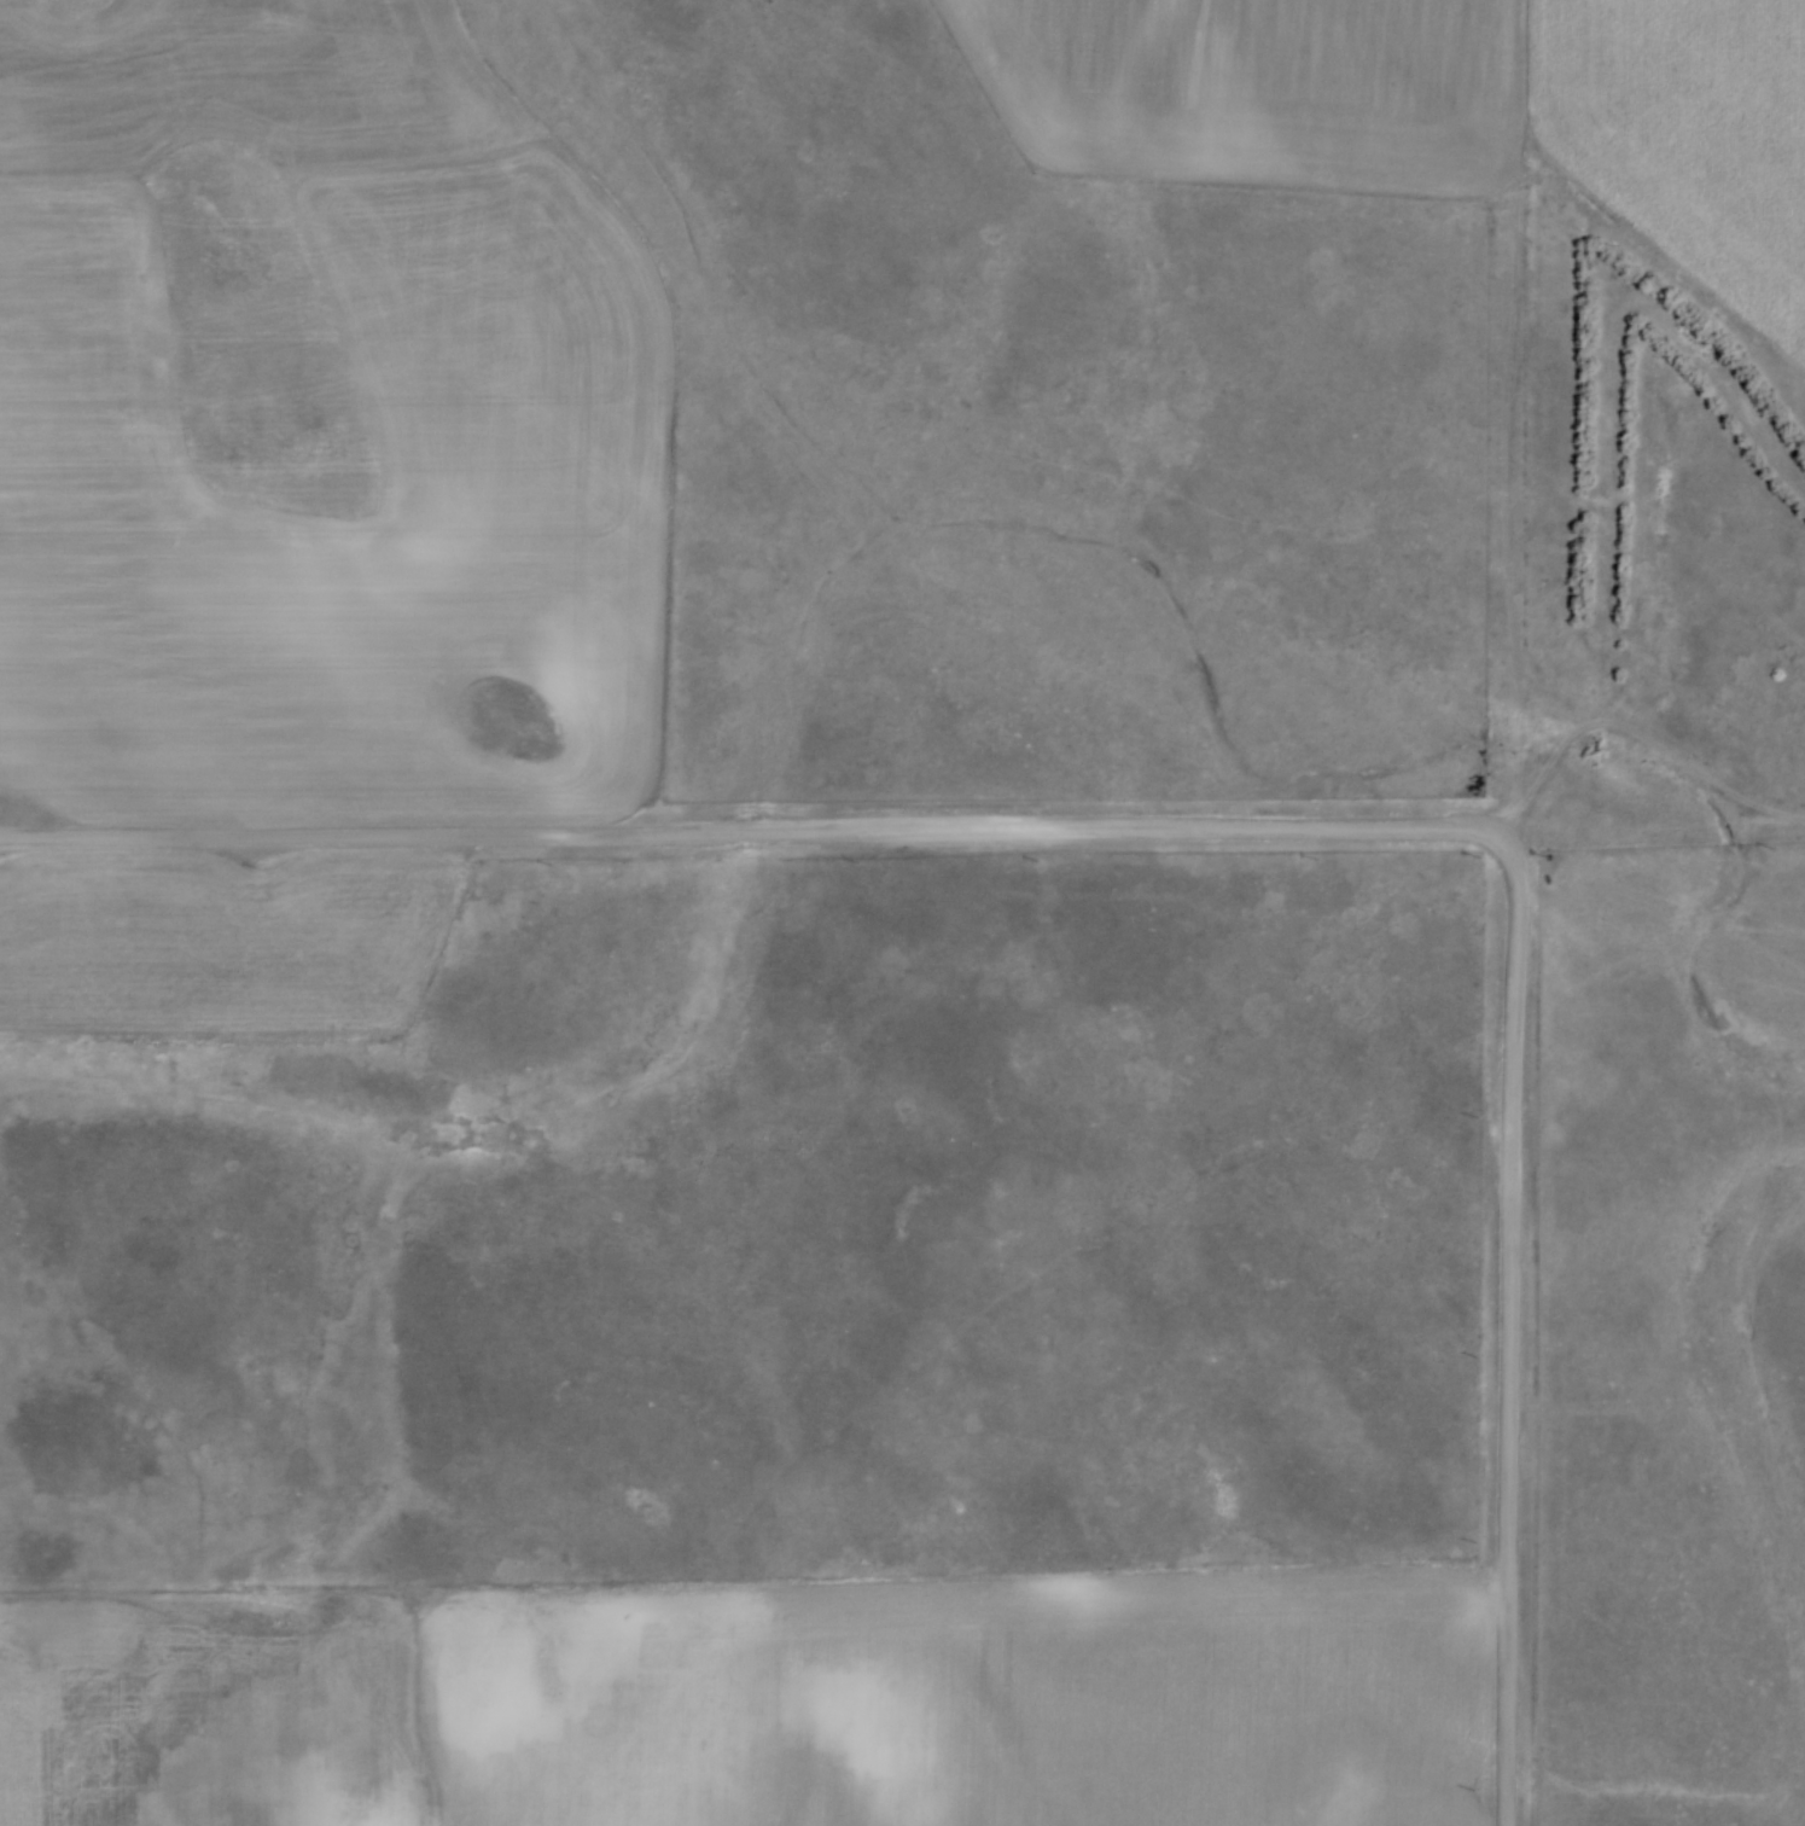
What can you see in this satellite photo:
crop: (1254, 87)
crop: (1698, 136)
crop: (316, 426)
road: (746, 831)
crop: (220, 938)
road: (1508, 1325)
crop: (762, 1702)

